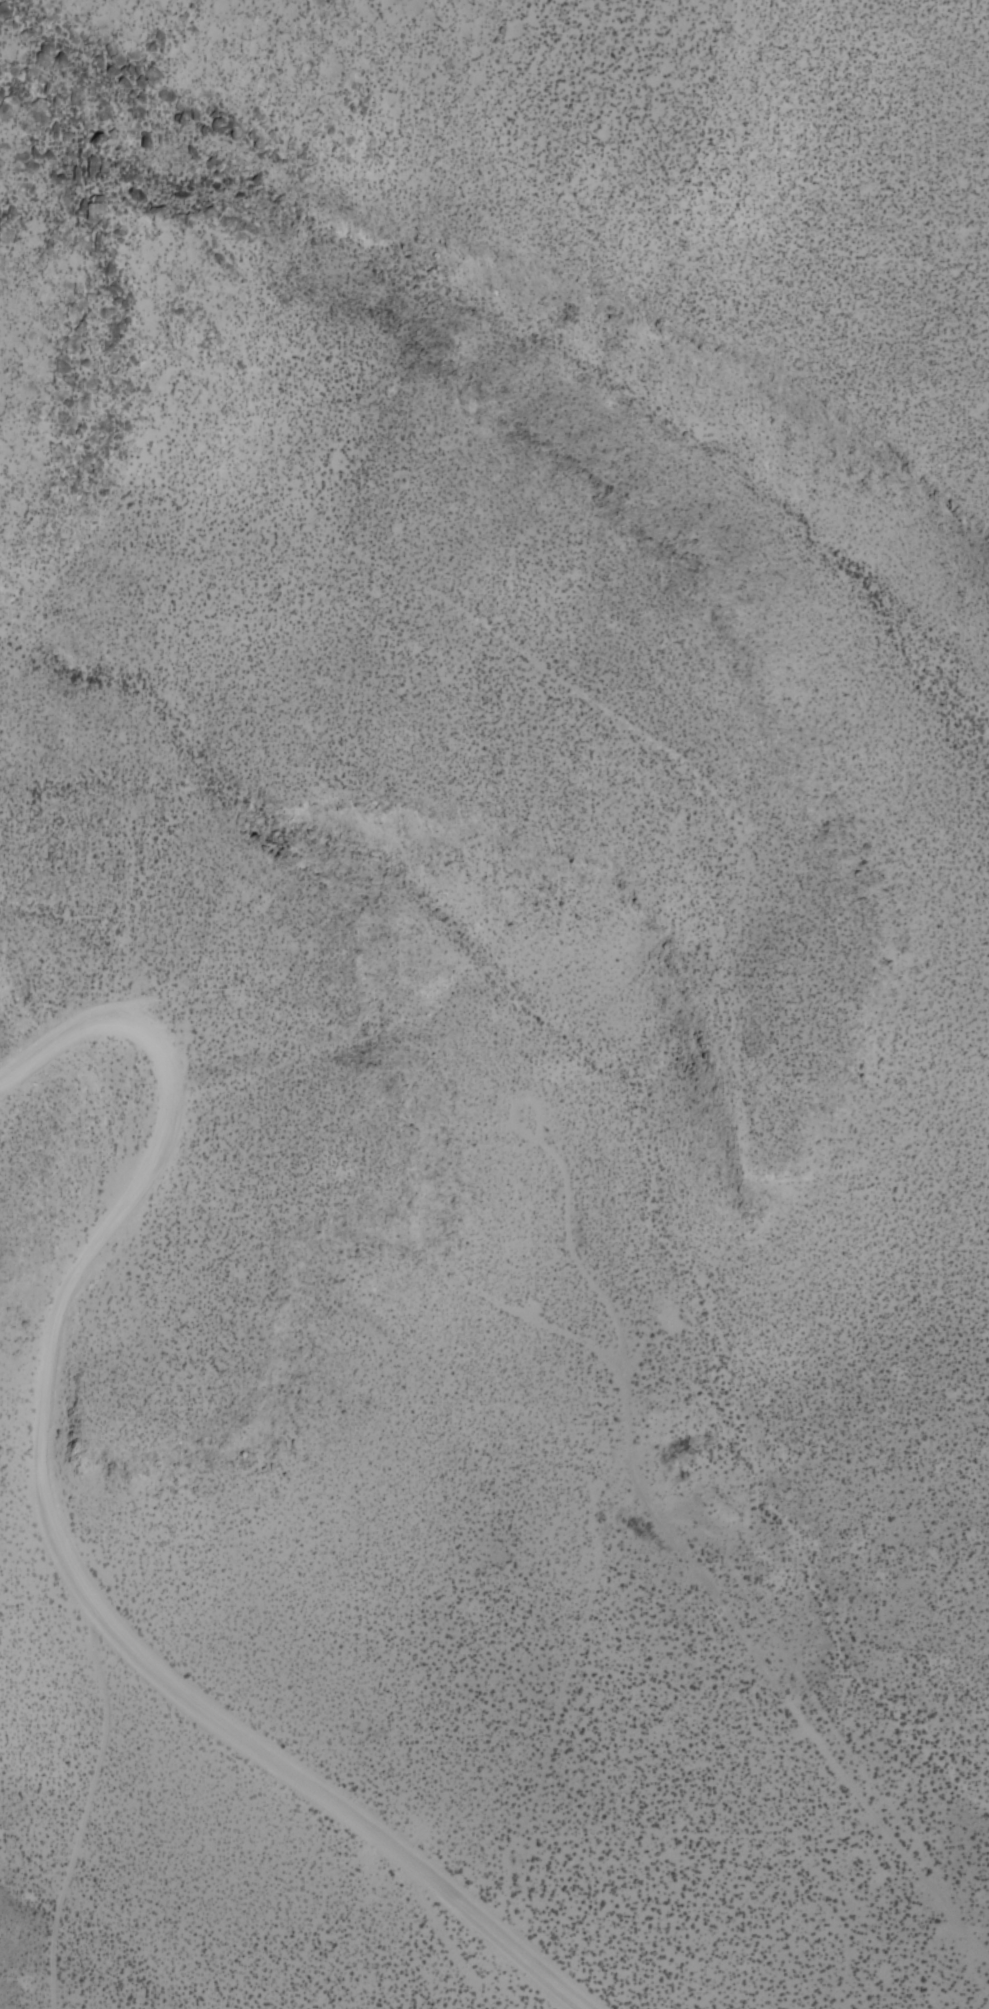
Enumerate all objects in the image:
road: (511, 1098)
road: (60, 1532)
road: (691, 1578)
road: (79, 1802)

